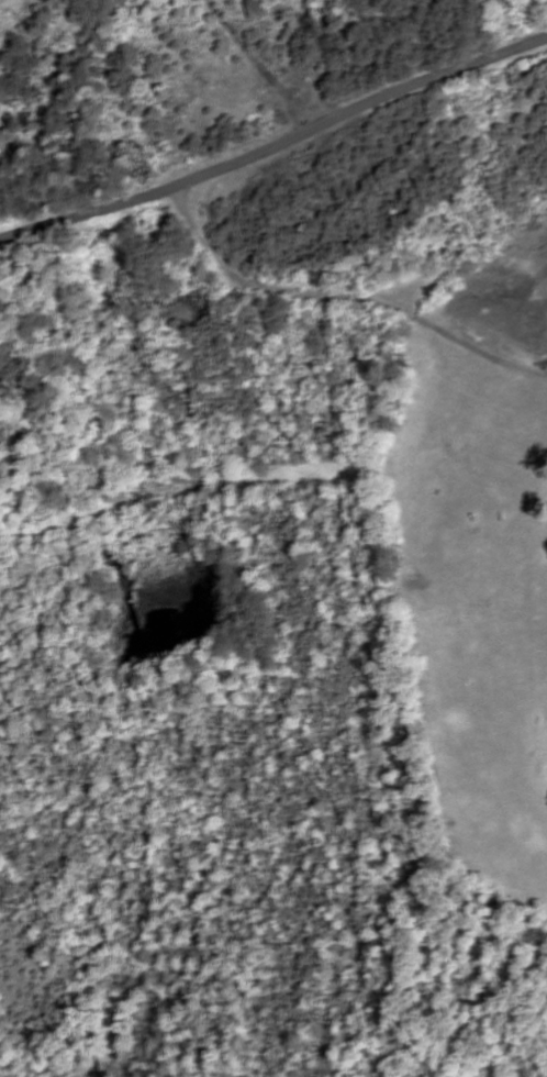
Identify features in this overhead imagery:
road: (358, 110)
road: (86, 212)
road: (342, 295)

